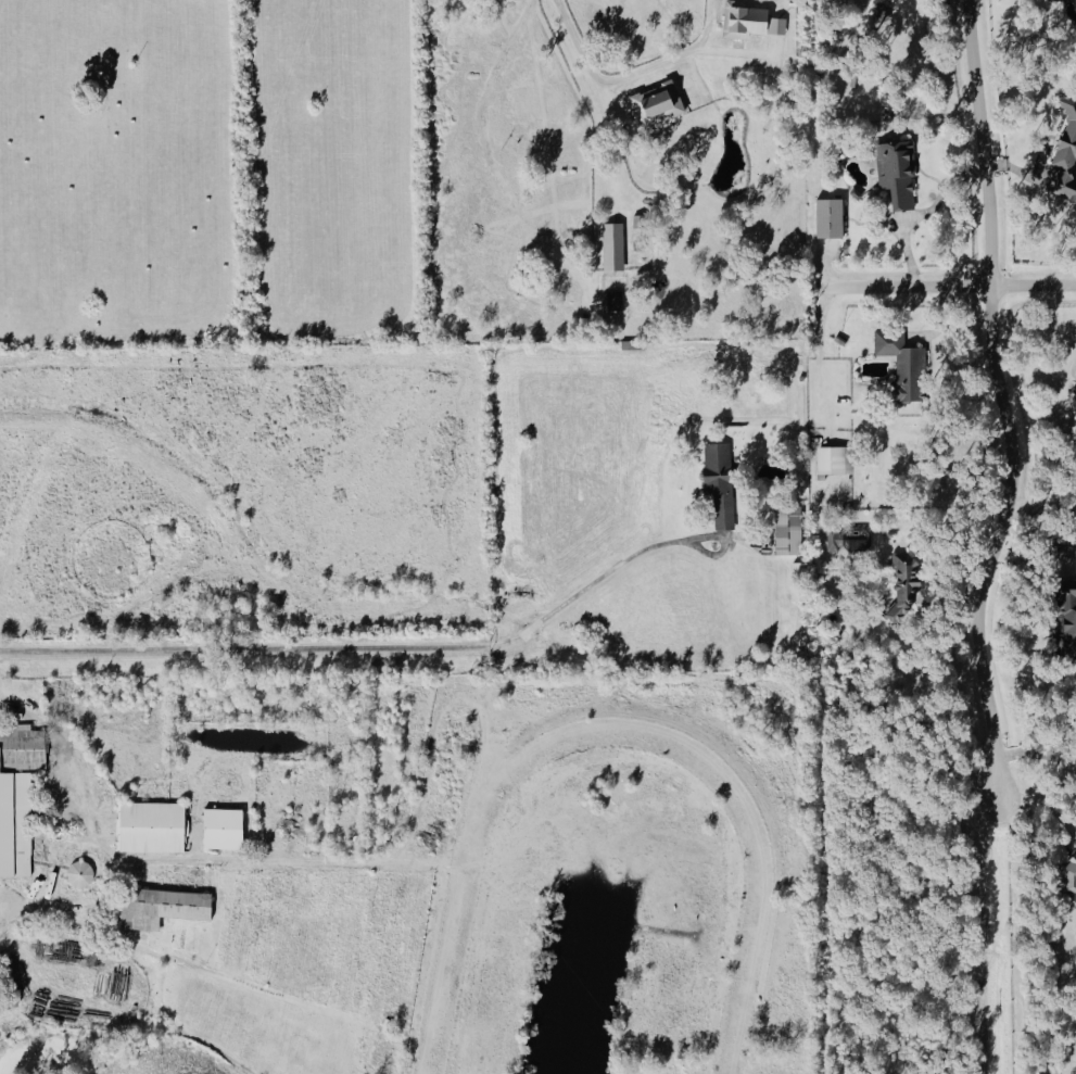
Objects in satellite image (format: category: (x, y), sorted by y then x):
building: (751, 22)
road: (643, 68)
building: (659, 104)
road: (492, 144)
building: (1067, 152)
building: (898, 172)
crop: (211, 174)
road: (923, 213)
building: (831, 217)
building: (613, 247)
road: (951, 292)
building: (616, 300)
building: (903, 364)
building: (1075, 394)
road: (1009, 404)
building: (836, 459)
building: (721, 482)
building: (789, 530)
building: (849, 538)
building: (1064, 551)
building: (906, 585)
road: (338, 647)
building: (20, 796)
building: (152, 827)
building: (224, 829)
building: (80, 874)
building: (1071, 880)
track: (756, 885)
building: (164, 908)
road: (23, 913)

